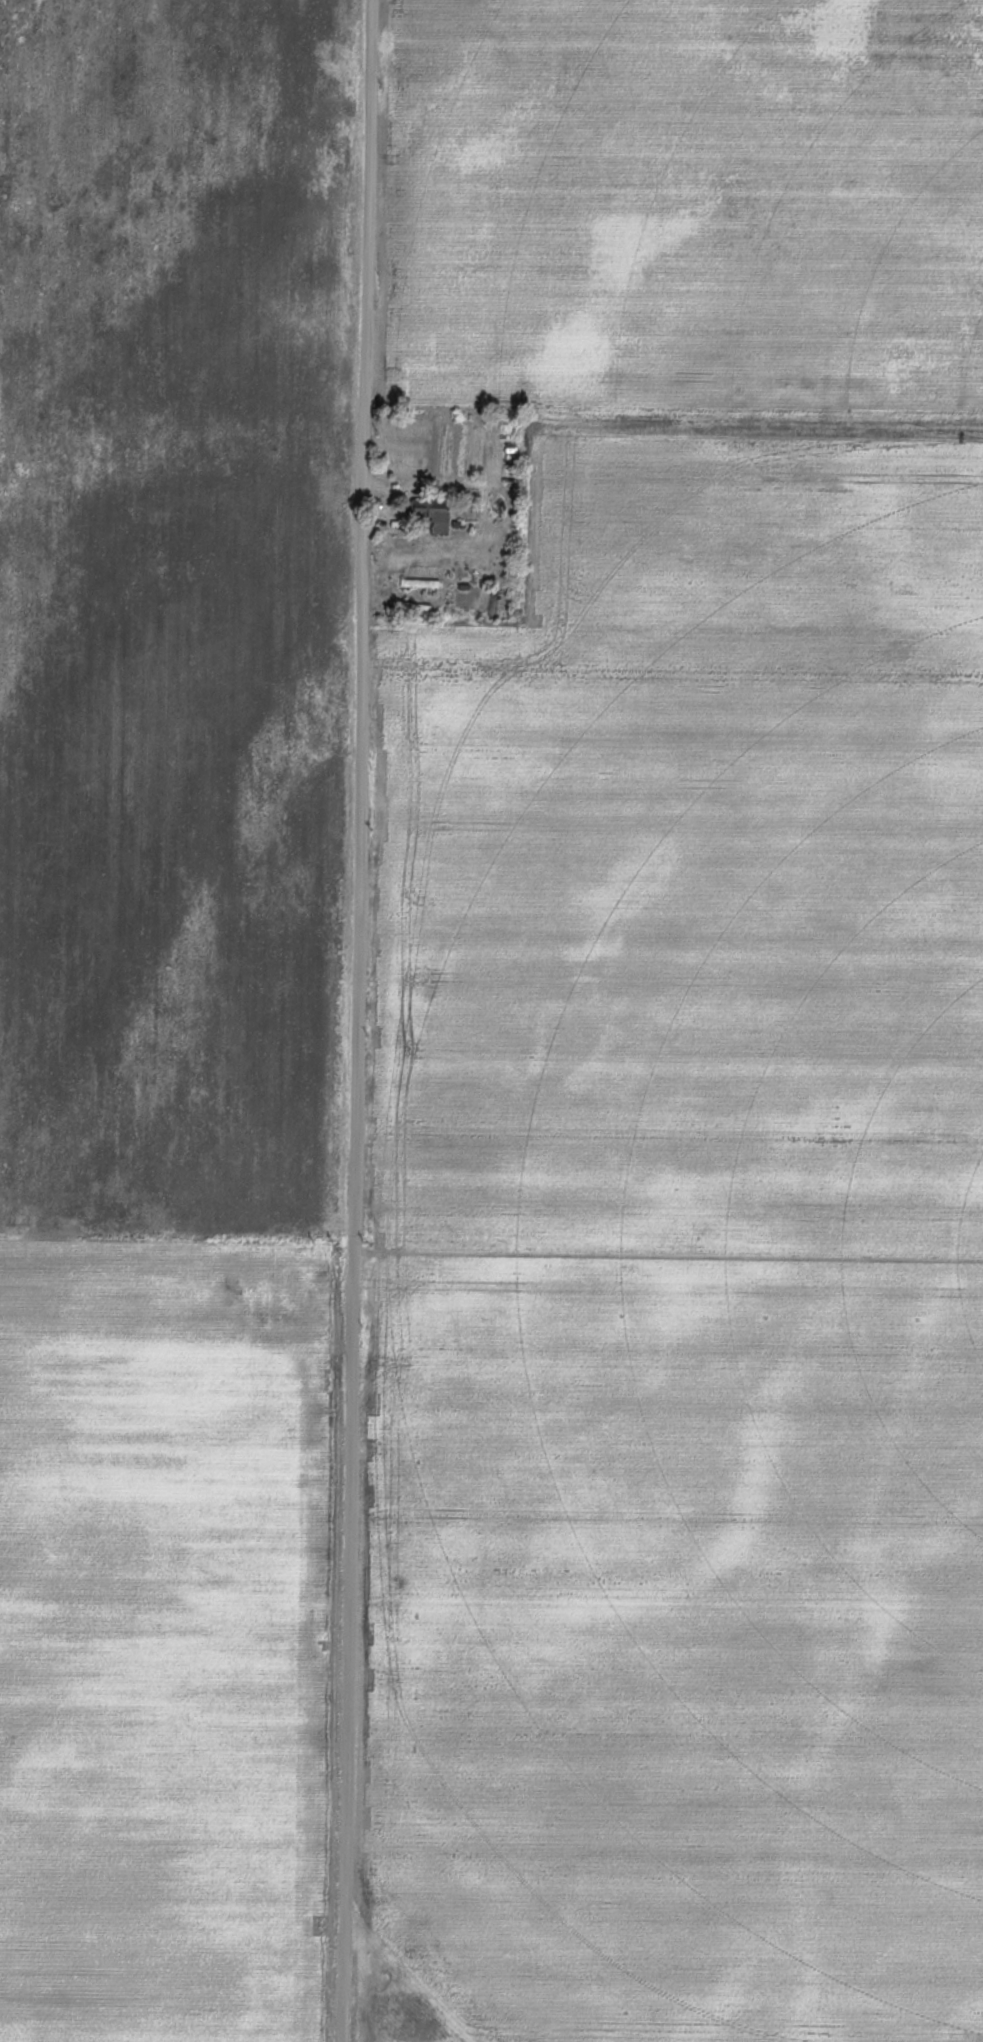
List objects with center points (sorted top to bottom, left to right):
building: (437, 511)
road: (358, 1020)

